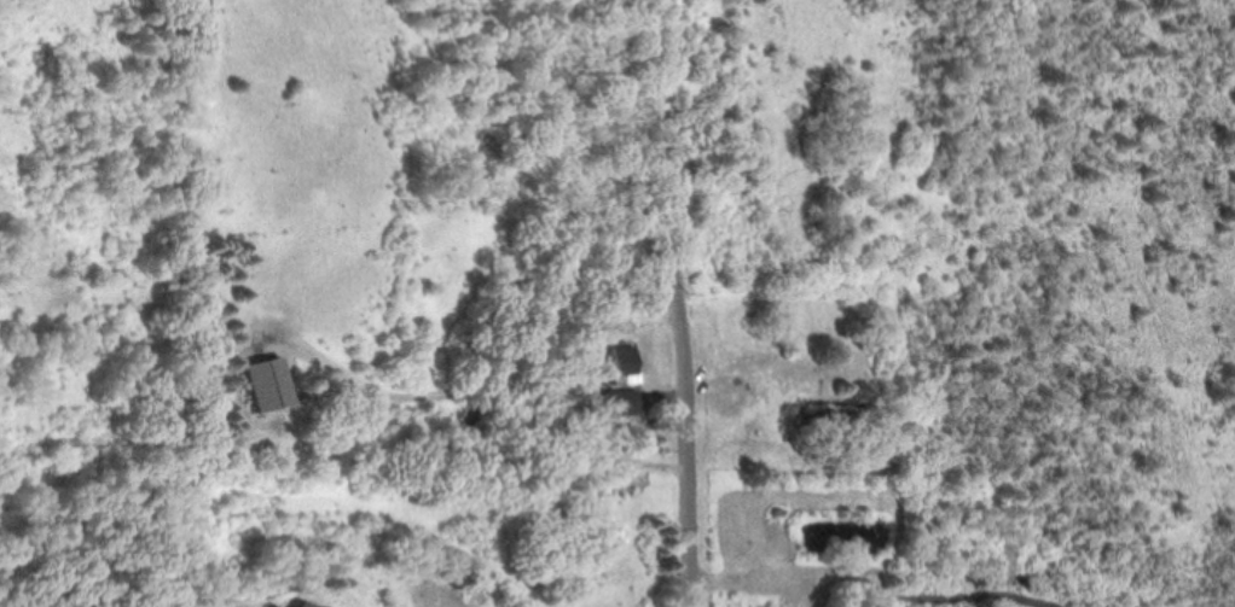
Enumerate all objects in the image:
road: (676, 303)
park: (95, 304)
building: (626, 370)
building: (274, 381)
building: (625, 403)
road: (517, 404)

